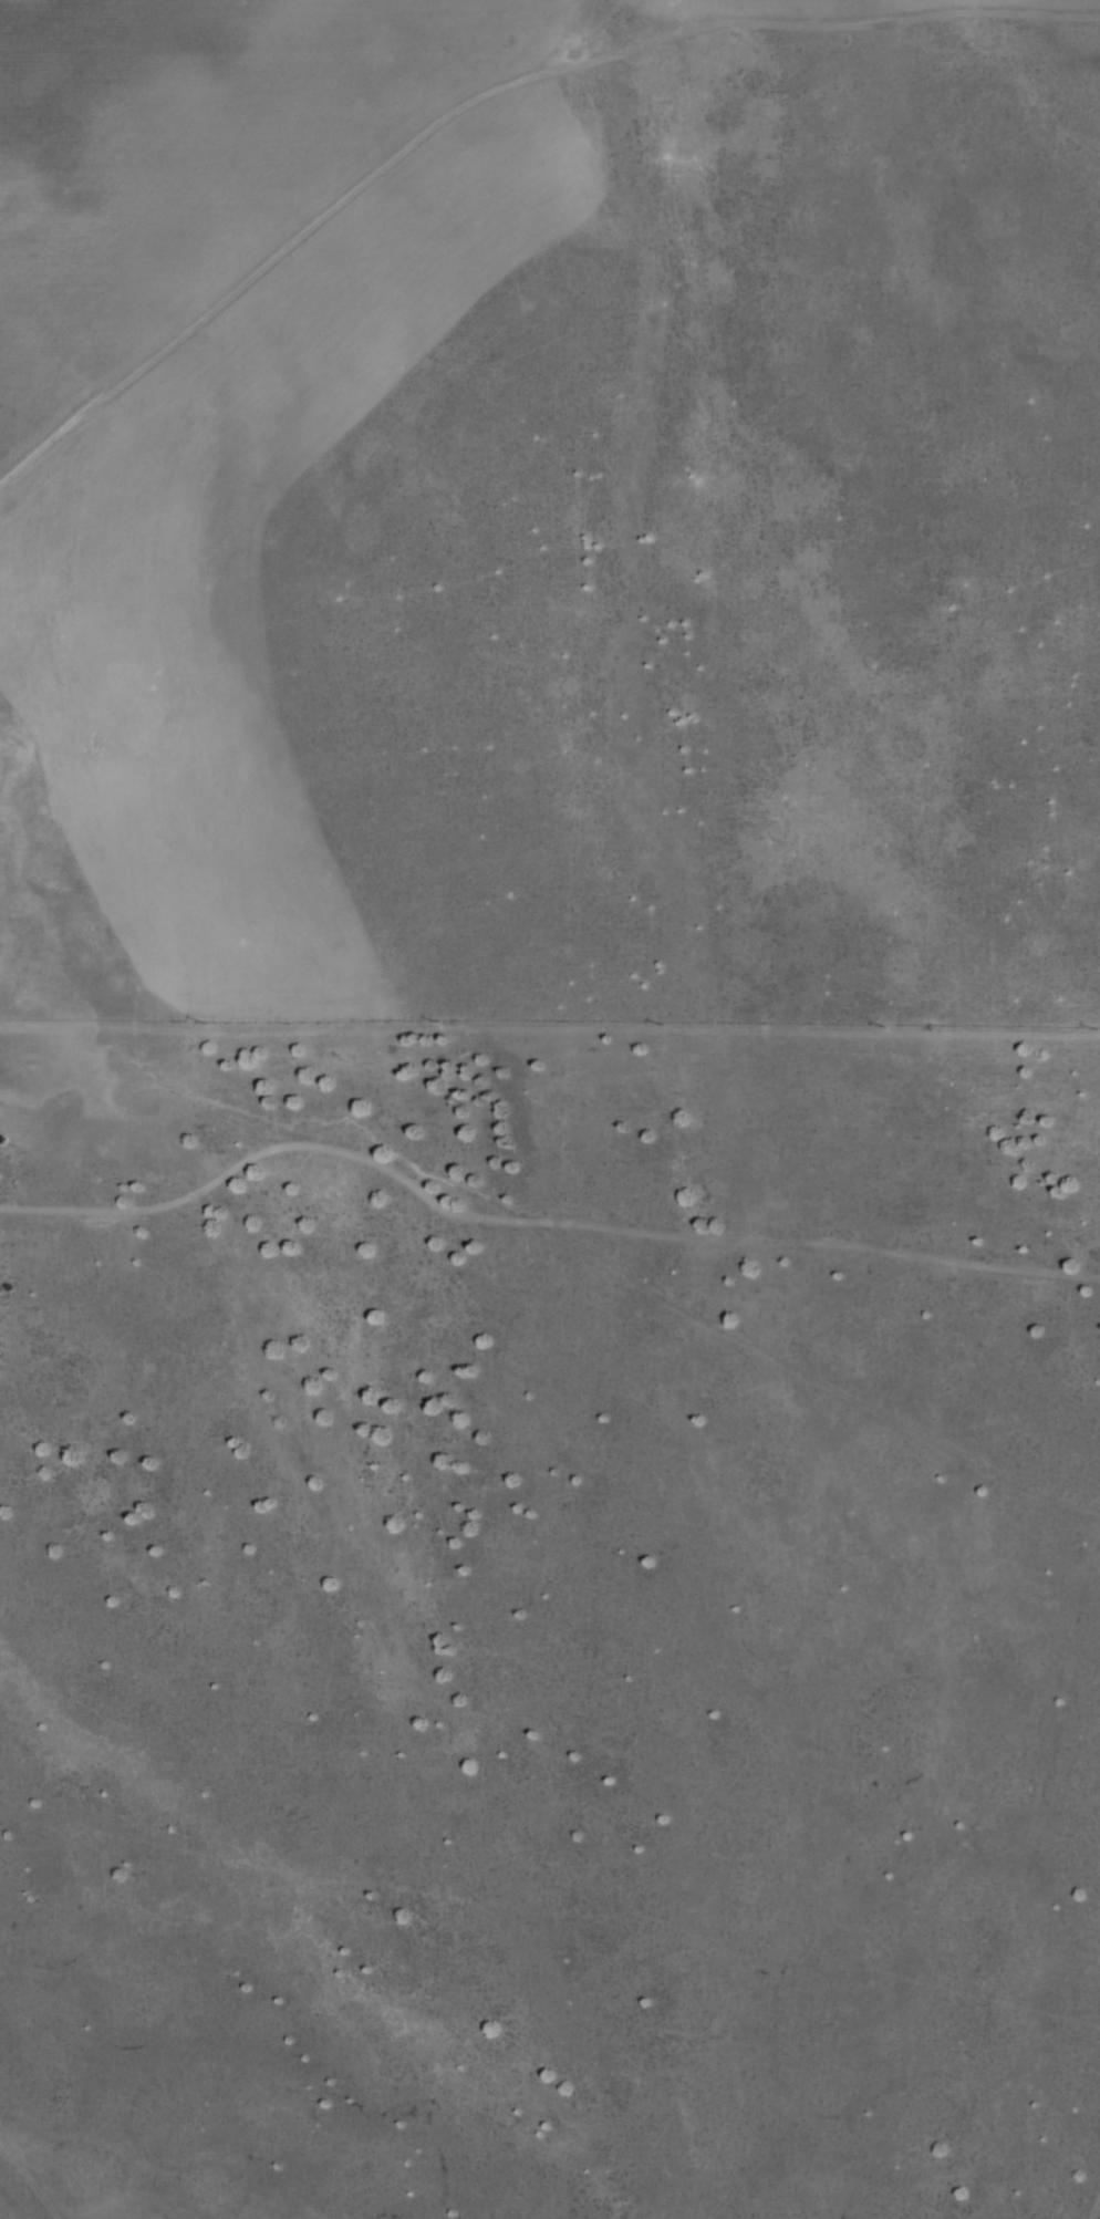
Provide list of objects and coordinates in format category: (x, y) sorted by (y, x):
crop: (253, 147)
road: (278, 248)
crop: (293, 532)
road: (1097, 2211)

